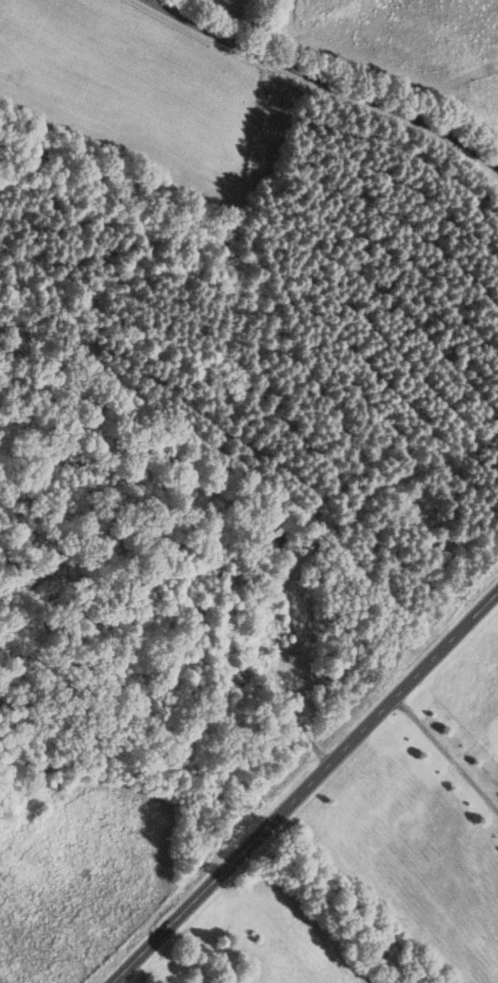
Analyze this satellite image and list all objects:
airport runway: (95, 75)
road: (324, 81)
road: (445, 752)
road: (303, 786)

